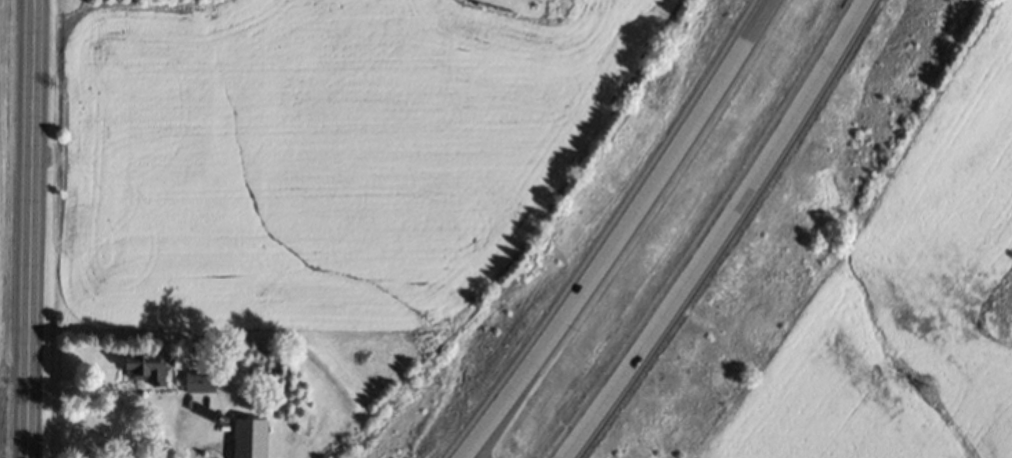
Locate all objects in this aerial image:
crop: (8, 183)
road: (31, 229)
road: (617, 232)
road: (719, 238)
building: (148, 369)
building: (201, 382)
building: (251, 438)
road: (181, 439)

